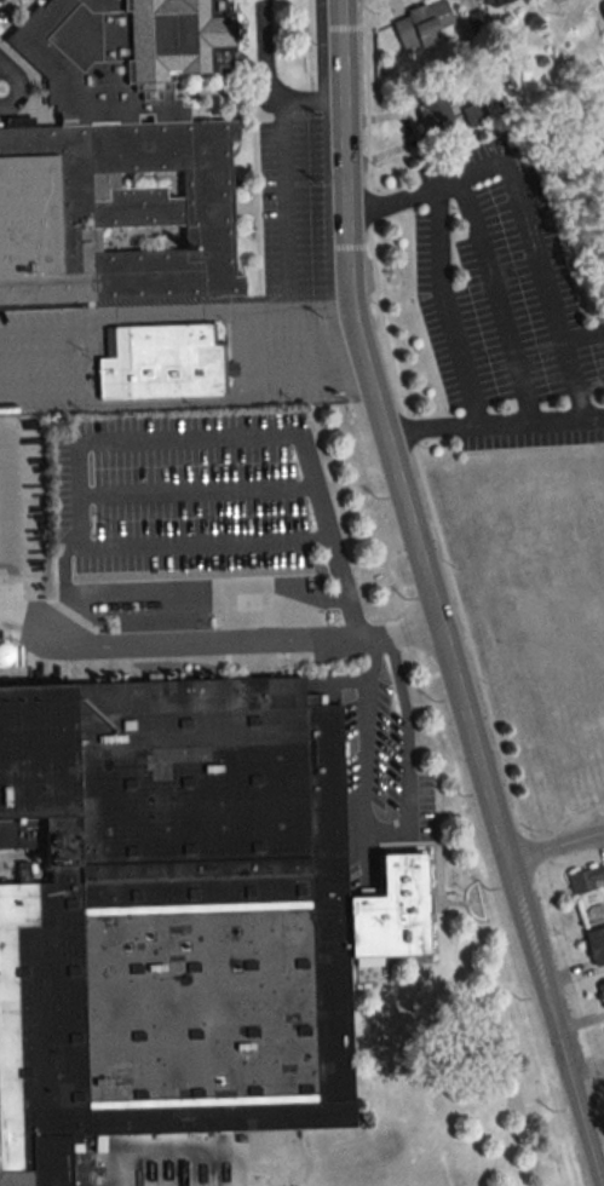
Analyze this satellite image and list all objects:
building: (543, 1)
building: (495, 4)
building: (603, 4)
building: (422, 25)
road: (311, 41)
building: (435, 108)
building: (476, 115)
building: (119, 159)
road: (281, 173)
road: (523, 183)
road: (493, 298)
road: (300, 305)
road: (445, 305)
road: (123, 310)
road: (253, 336)
road: (305, 361)
building: (160, 363)
road: (571, 376)
road: (132, 402)
road: (493, 422)
road: (188, 438)
road: (412, 442)
road: (195, 487)
road: (430, 598)
road: (215, 635)
road: (392, 831)
road: (553, 847)
building: (586, 879)
building: (178, 916)
building: (596, 944)
building: (602, 992)

